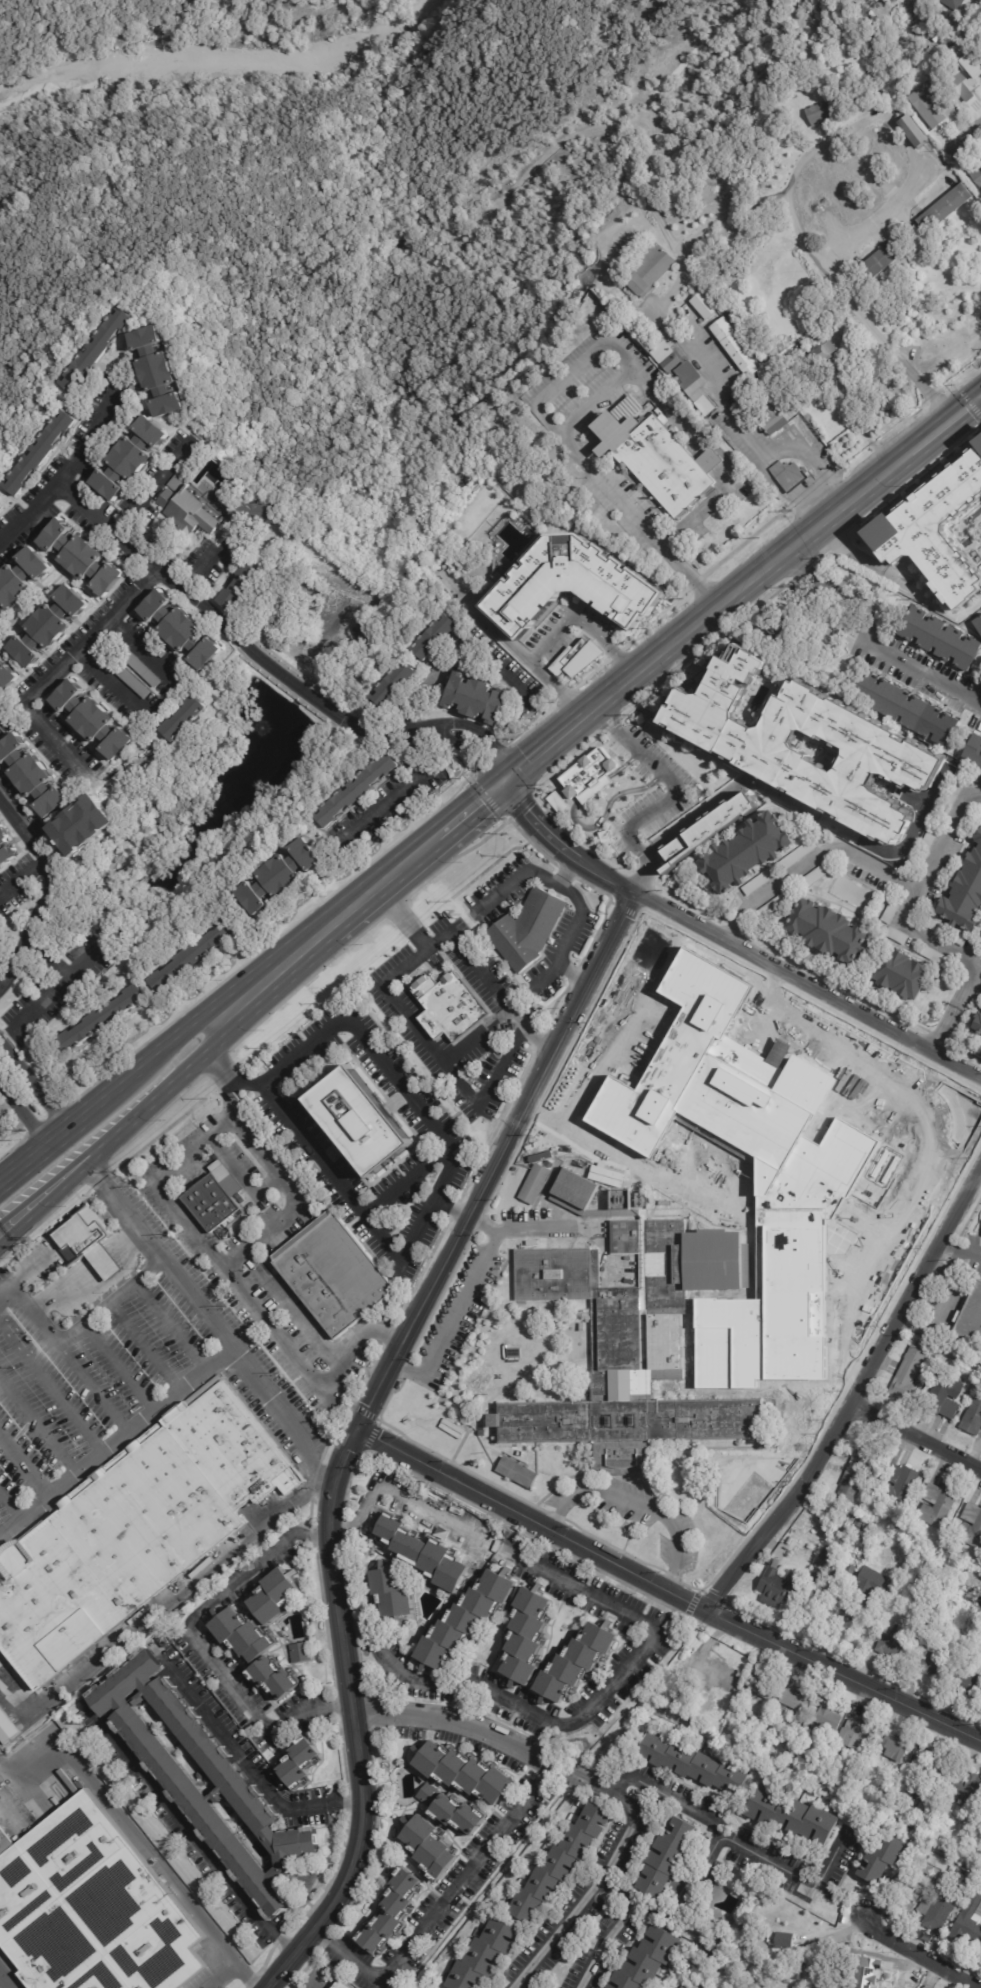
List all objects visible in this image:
building: (952, 4)
building: (970, 26)
building: (967, 79)
building: (865, 84)
building: (926, 105)
building: (829, 108)
building: (911, 130)
road: (963, 140)
road: (793, 174)
building: (976, 176)
park: (346, 201)
building: (944, 208)
building: (877, 262)
building: (646, 272)
building: (704, 305)
building: (735, 346)
building: (98, 350)
building: (819, 356)
road: (568, 367)
building: (160, 370)
building: (683, 376)
building: (804, 391)
building: (130, 404)
road: (967, 409)
building: (642, 412)
building: (769, 419)
road: (750, 444)
building: (42, 452)
building: (130, 457)
building: (657, 459)
road: (586, 464)
road: (67, 467)
building: (788, 475)
road: (154, 484)
road: (722, 488)
building: (3, 506)
building: (260, 511)
building: (189, 512)
building: (934, 529)
building: (81, 557)
building: (0, 570)
road: (200, 570)
building: (23, 577)
building: (571, 583)
building: (242, 587)
road: (729, 602)
building: (1, 615)
building: (977, 624)
road: (585, 625)
building: (49, 626)
road: (94, 631)
building: (183, 631)
road: (232, 632)
road: (873, 636)
building: (438, 638)
building: (939, 639)
road: (518, 646)
building: (1, 655)
road: (457, 656)
building: (576, 658)
building: (145, 669)
building: (8, 678)
building: (134, 680)
building: (402, 684)
building: (476, 698)
road: (158, 700)
road: (977, 701)
road: (977, 708)
building: (904, 709)
road: (14, 710)
building: (94, 719)
building: (186, 720)
road: (479, 729)
building: (804, 743)
road: (464, 748)
building: (973, 751)
building: (589, 770)
road: (79, 771)
road: (500, 774)
building: (32, 775)
traffic signals: (503, 781)
road: (401, 786)
building: (358, 790)
road: (669, 798)
building: (948, 801)
building: (557, 802)
road: (697, 811)
road: (466, 812)
building: (0, 813)
building: (87, 824)
road: (579, 825)
road: (615, 825)
building: (708, 828)
road: (23, 829)
road: (561, 845)
building: (8, 847)
road: (647, 847)
building: (924, 847)
building: (744, 852)
building: (796, 855)
road: (820, 855)
building: (812, 877)
building: (282, 878)
road: (517, 879)
building: (758, 882)
building: (964, 893)
road: (42, 896)
building: (771, 906)
road: (908, 906)
building: (889, 913)
road: (575, 922)
building: (935, 926)
road: (328, 929)
building: (527, 930)
road: (732, 931)
building: (825, 932)
building: (896, 936)
building: (979, 936)
building: (959, 939)
building: (193, 955)
road: (467, 955)
building: (932, 955)
road: (547, 974)
building: (900, 975)
road: (807, 985)
road: (46, 994)
building: (447, 1006)
building: (104, 1018)
building: (977, 1024)
road: (946, 1029)
road: (419, 1032)
road: (303, 1049)
road: (151, 1064)
road: (484, 1088)
road: (167, 1091)
road: (32, 1097)
road: (424, 1119)
building: (358, 1121)
road: (942, 1141)
road: (309, 1144)
road: (40, 1158)
building: (807, 1172)
road: (240, 1175)
road: (403, 1181)
building: (532, 1183)
road: (43, 1184)
building: (575, 1188)
building: (215, 1197)
road: (296, 1199)
road: (48, 1203)
parking lot: (516, 1217)
road: (482, 1225)
road: (414, 1227)
road: (535, 1231)
building: (91, 1243)
road: (961, 1243)
road: (156, 1257)
road: (230, 1273)
building: (333, 1273)
road: (292, 1308)
building: (969, 1316)
parking lot: (453, 1318)
road: (452, 1323)
road: (170, 1325)
road: (74, 1331)
building: (633, 1343)
road: (143, 1346)
building: (511, 1352)
road: (118, 1366)
building: (907, 1374)
road: (93, 1386)
road: (50, 1387)
road: (179, 1388)
road: (854, 1393)
building: (942, 1396)
building: (972, 1415)
road: (37, 1423)
road: (357, 1424)
road: (915, 1436)
building: (517, 1469)
building: (756, 1470)
building: (856, 1472)
building: (732, 1475)
building: (897, 1484)
road: (10, 1504)
road: (637, 1504)
building: (935, 1504)
parking lot: (630, 1512)
road: (23, 1513)
building: (845, 1521)
building: (858, 1521)
building: (871, 1525)
building: (976, 1525)
building: (134, 1530)
building: (423, 1554)
building: (827, 1561)
building: (848, 1570)
building: (813, 1578)
building: (866, 1585)
building: (776, 1589)
road: (665, 1590)
building: (391, 1592)
building: (274, 1595)
building: (938, 1596)
road: (158, 1611)
building: (951, 1612)
building: (465, 1619)
building: (525, 1635)
road: (658, 1635)
building: (240, 1637)
building: (892, 1643)
road: (194, 1644)
building: (298, 1652)
building: (578, 1659)
building: (931, 1664)
building: (712, 1675)
building: (272, 1679)
building: (967, 1684)
building: (762, 1687)
building: (795, 1701)
road: (13, 1704)
building: (657, 1712)
building: (759, 1718)
building: (823, 1720)
building: (6, 1728)
park: (576, 1731)
road: (470, 1734)
building: (853, 1738)
road: (241, 1744)
building: (891, 1745)
building: (296, 1761)
building: (691, 1765)
building: (932, 1768)
building: (461, 1775)
building: (175, 1783)
building: (822, 1783)
building: (968, 1788)
building: (912, 1792)
building: (896, 1806)
road: (344, 1809)
road: (695, 1811)
building: (865, 1811)
building: (449, 1813)
building: (792, 1816)
building: (891, 1817)
road: (125, 1824)
building: (915, 1824)
road: (187, 1835)
building: (5, 1842)
building: (427, 1848)
building: (664, 1857)
building: (877, 1860)
building: (558, 1863)
building: (967, 1874)
building: (964, 1879)
building: (963, 1900)
road: (582, 1902)
road: (678, 1903)
road: (442, 1906)
building: (93, 1908)
building: (390, 1911)
building: (935, 1911)
building: (968, 1922)
building: (782, 1941)
road: (607, 1942)
building: (707, 1947)
road: (279, 1948)
building: (484, 1954)
road: (919, 1954)
building: (644, 1960)
road: (234, 1967)
building: (795, 1972)
building: (863, 1972)
building: (701, 1980)
road: (4, 1981)
building: (341, 1984)
building: (687, 1985)
building: (606, 1987)

